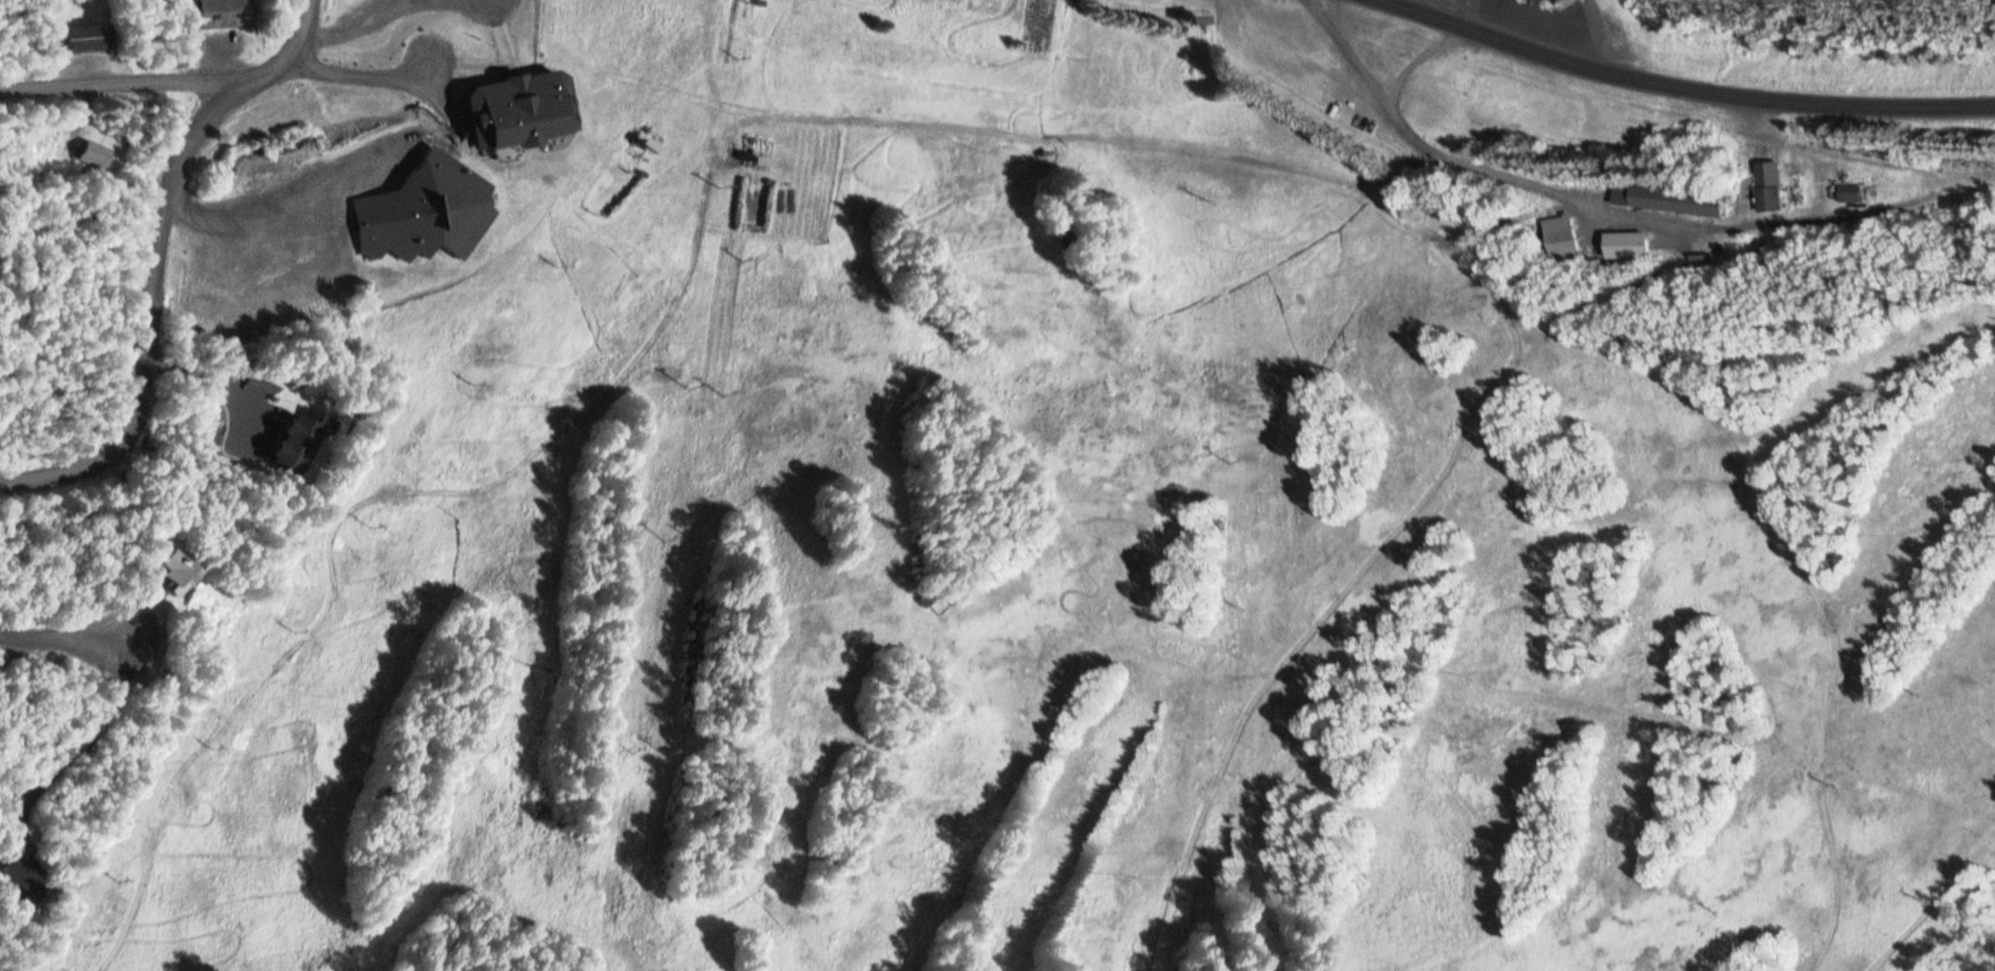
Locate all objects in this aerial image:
building: (1535, 1)
building: (1556, 1)
parking lot: (488, 5)
building: (980, 5)
building: (217, 13)
parking lot: (353, 18)
building: (82, 38)
road: (1696, 79)
road: (119, 87)
building: (507, 102)
building: (758, 149)
building: (93, 155)
aerialway pylon: (718, 177)
aerialway pylon: (1210, 186)
building: (1767, 188)
building: (1848, 194)
building: (1668, 201)
building: (417, 202)
parking lot: (280, 215)
building: (1558, 236)
building: (1624, 246)
road: (156, 259)
aerialway pylon: (562, 259)
aerialway pylon: (477, 379)
aerialway pylon: (688, 379)
aerialway pylon: (726, 386)
aerialway pylon: (1227, 441)
building: (292, 444)
ski resort: (997, 485)
aerialway pylon: (375, 521)
aerialway pylon: (665, 531)
aerialway pylon: (703, 536)
building: (169, 576)
aerialway pylon: (1237, 594)
building: (939, 605)
aerialway pylon: (302, 624)
road: (70, 642)
aerialway pylon: (1915, 688)
aerialway pylon: (635, 736)
aerialway pylon: (217, 743)
aerialway pylon: (673, 743)
aerialway pylon: (1830, 779)
aerialway pylon: (124, 874)
building: (14, 877)
aerialway pylon: (1922, 897)
aerialway pylon: (1710, 907)
aerialway pylon: (1261, 951)
aerialway pylon: (58, 967)

